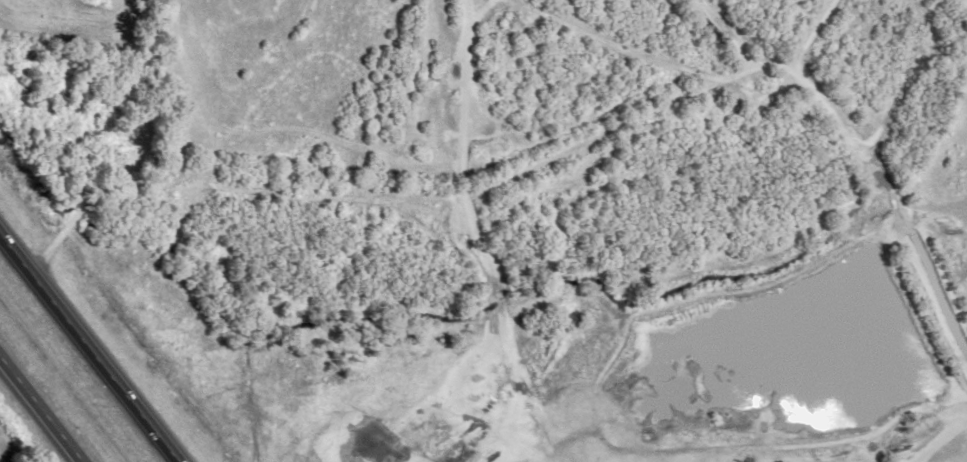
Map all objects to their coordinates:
building: (768, 94)
road: (90, 346)
road: (42, 408)

